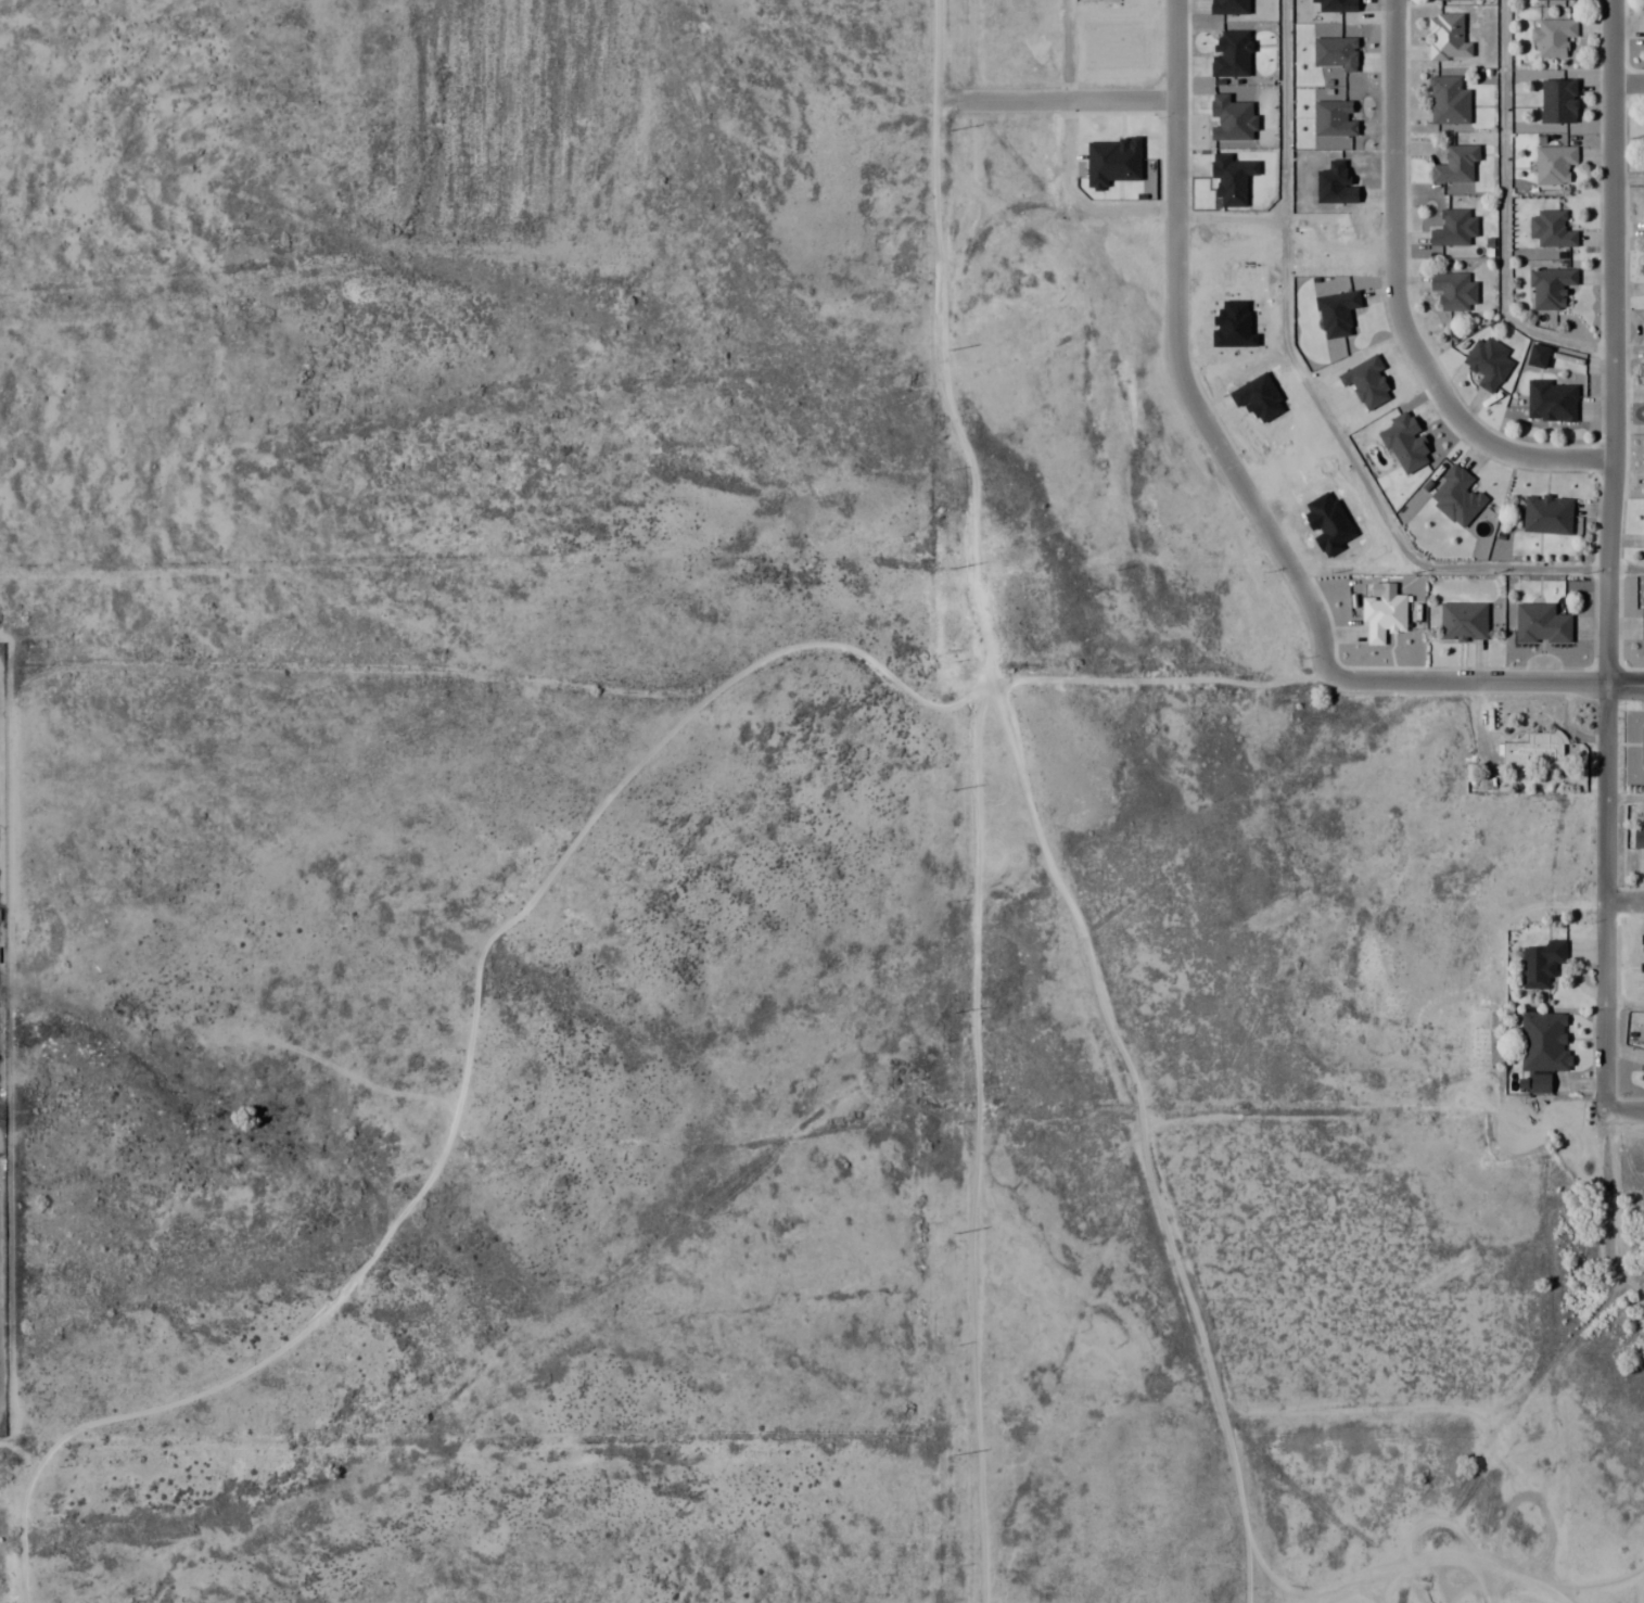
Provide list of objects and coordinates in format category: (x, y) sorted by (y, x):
building: (1447, 36)
building: (1551, 36)
road: (1066, 49)
road: (1627, 84)
road: (1066, 99)
building: (1448, 100)
building: (1558, 100)
building: (1455, 163)
building: (1553, 163)
road: (1503, 215)
building: (1454, 227)
building: (1551, 229)
building: (1550, 287)
building: (1454, 289)
road: (1396, 300)
road: (1610, 341)
road: (1176, 360)
building: (1488, 362)
road: (1311, 389)
building: (1551, 400)
building: (1456, 496)
road: (1624, 567)
building: (1462, 621)
building: (1642, 623)
building: (1541, 624)
road: (1470, 682)
road: (1624, 683)
building: (1642, 746)
building: (1533, 751)
road: (1624, 798)
building: (1637, 836)
road: (1605, 896)
road: (1624, 901)
road: (518, 911)
building: (1541, 963)
road: (1623, 1003)
building: (1544, 1041)
building: (1643, 1064)
building: (1538, 1083)
road: (1623, 1110)
road: (418, 1193)

